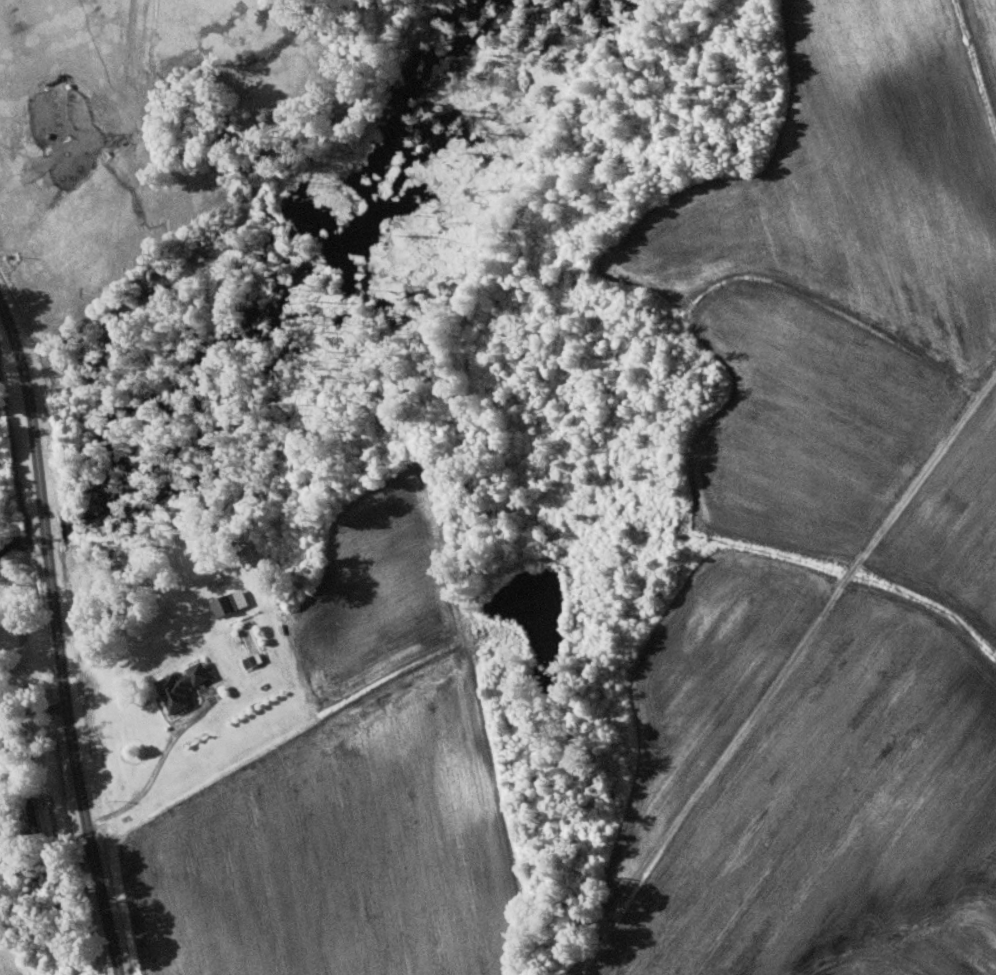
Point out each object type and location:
building: (226, 604)
road: (58, 636)
building: (254, 660)
building: (184, 686)
road: (33, 707)

